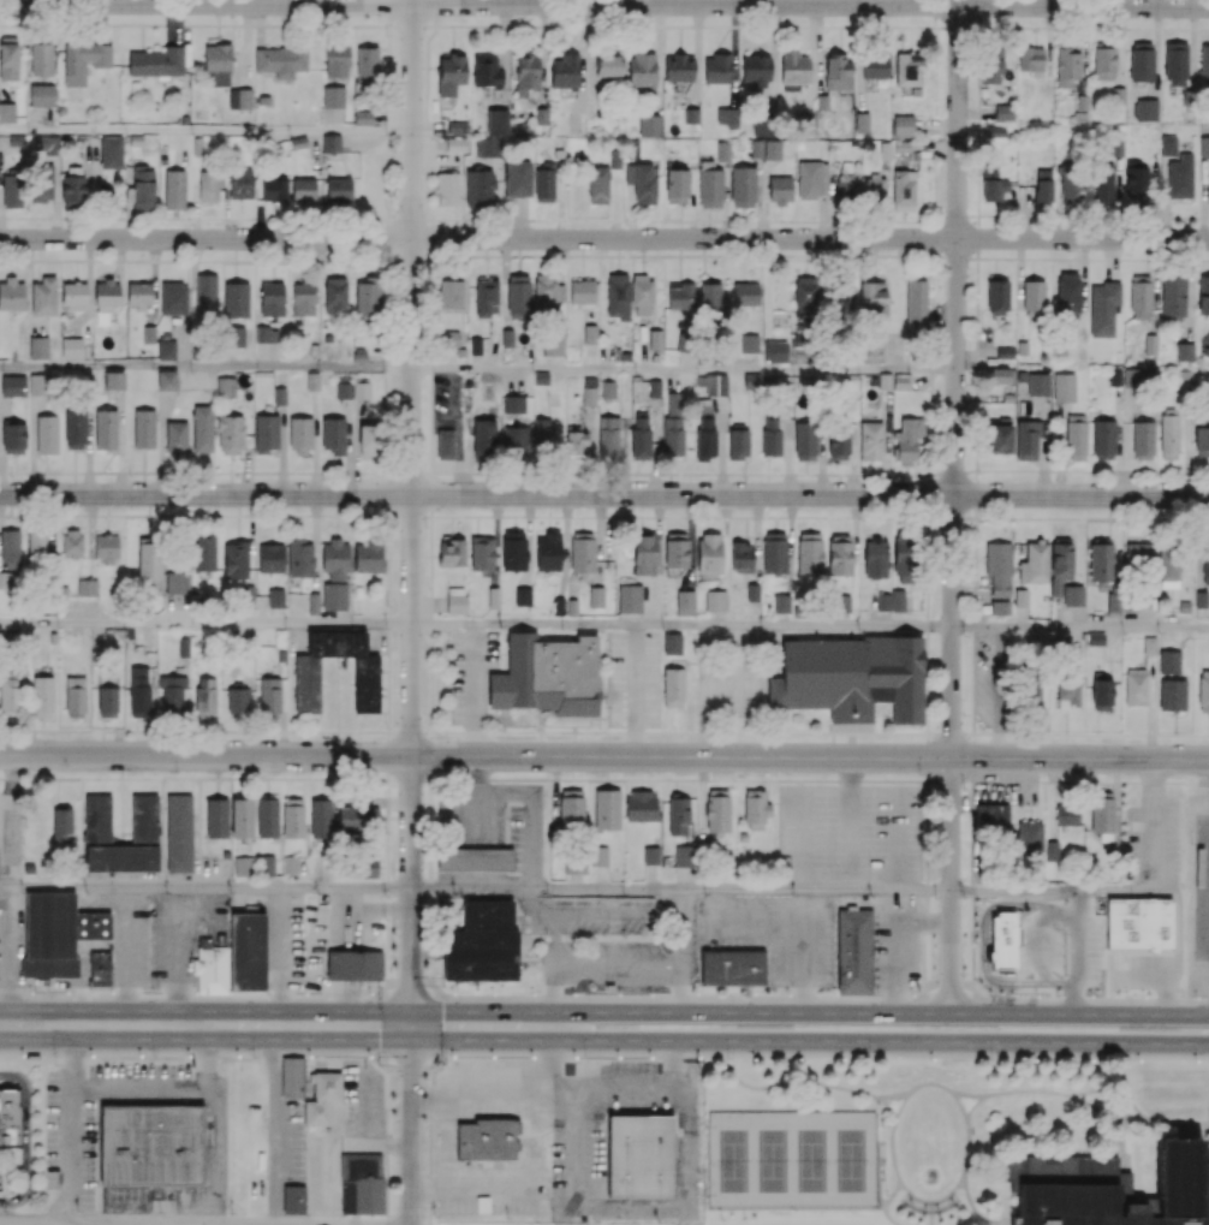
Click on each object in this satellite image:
road: (604, 6)
building: (41, 95)
building: (6, 112)
road: (206, 132)
building: (16, 139)
building: (135, 139)
building: (111, 153)
road: (604, 239)
building: (204, 293)
building: (42, 297)
building: (172, 298)
building: (1102, 309)
building: (148, 335)
building: (1149, 344)
building: (37, 347)
building: (71, 347)
road: (206, 369)
road: (684, 370)
building: (1020, 377)
building: (113, 380)
building: (166, 381)
building: (311, 381)
building: (1037, 385)
building: (12, 386)
building: (224, 387)
building: (1062, 387)
building: (278, 396)
building: (103, 429)
building: (143, 429)
building: (46, 434)
road: (604, 494)
road: (952, 506)
road: (412, 512)
road: (206, 515)
building: (547, 552)
building: (269, 558)
building: (752, 593)
building: (1072, 595)
building: (244, 596)
building: (333, 596)
building: (522, 596)
building: (595, 596)
building: (493, 597)
building: (1019, 597)
building: (274, 599)
building: (629, 599)
building: (714, 600)
building: (897, 600)
building: (1199, 600)
building: (780, 602)
building: (311, 603)
building: (556, 605)
building: (1183, 606)
building: (571, 607)
building: (999, 607)
road: (206, 623)
road: (680, 625)
road: (1079, 626)
building: (1095, 638)
building: (671, 644)
building: (1148, 646)
building: (1168, 662)
building: (851, 678)
road: (204, 730)
road: (604, 756)
building: (606, 810)
building: (266, 819)
building: (240, 820)
road: (1151, 825)
building: (178, 834)
building: (742, 837)
building: (597, 856)
building: (649, 856)
building: (477, 862)
building: (264, 866)
building: (290, 866)
building: (240, 867)
road: (680, 887)
road: (206, 890)
road: (1050, 891)
building: (1139, 926)
building: (55, 935)
building: (1032, 935)
building: (481, 945)
road: (680, 951)
building: (857, 952)
building: (249, 955)
road: (178, 958)
building: (210, 968)
building: (353, 968)
building: (100, 969)
building: (734, 969)
street lamp: (138, 992)
street lamp: (513, 992)
street lamp: (377, 994)
street lamp: (627, 994)
street lamp: (766, 994)
street lamp: (1180, 994)
street lamp: (264, 995)
street lamp: (905, 997)
street lamp: (1041, 997)
road: (875, 1012)
road: (31, 1024)
road: (236, 1025)
traffic signals: (383, 1025)
traffic signals: (441, 1025)
road: (477, 1025)
road: (875, 1039)
street lamp: (52, 1055)
street lamp: (184, 1057)
street lamp: (312, 1057)
street lamp: (443, 1057)
street lamp: (560, 1058)
street lamp: (701, 1059)
road: (546, 1060)
street lamp: (835, 1060)
street lamp: (972, 1060)
street lamp: (1096, 1062)
building: (292, 1078)
road: (139, 1089)
road: (571, 1094)
building: (322, 1100)
building: (11, 1119)
road: (218, 1123)
road: (70, 1124)
road: (410, 1125)
building: (487, 1140)
building: (150, 1147)
building: (641, 1159)
park: (729, 1160)
park: (772, 1160)
park: (811, 1160)
park: (853, 1160)
building: (365, 1185)
road: (516, 1187)
building: (1108, 1189)
building: (297, 1202)
road: (108, 1224)

